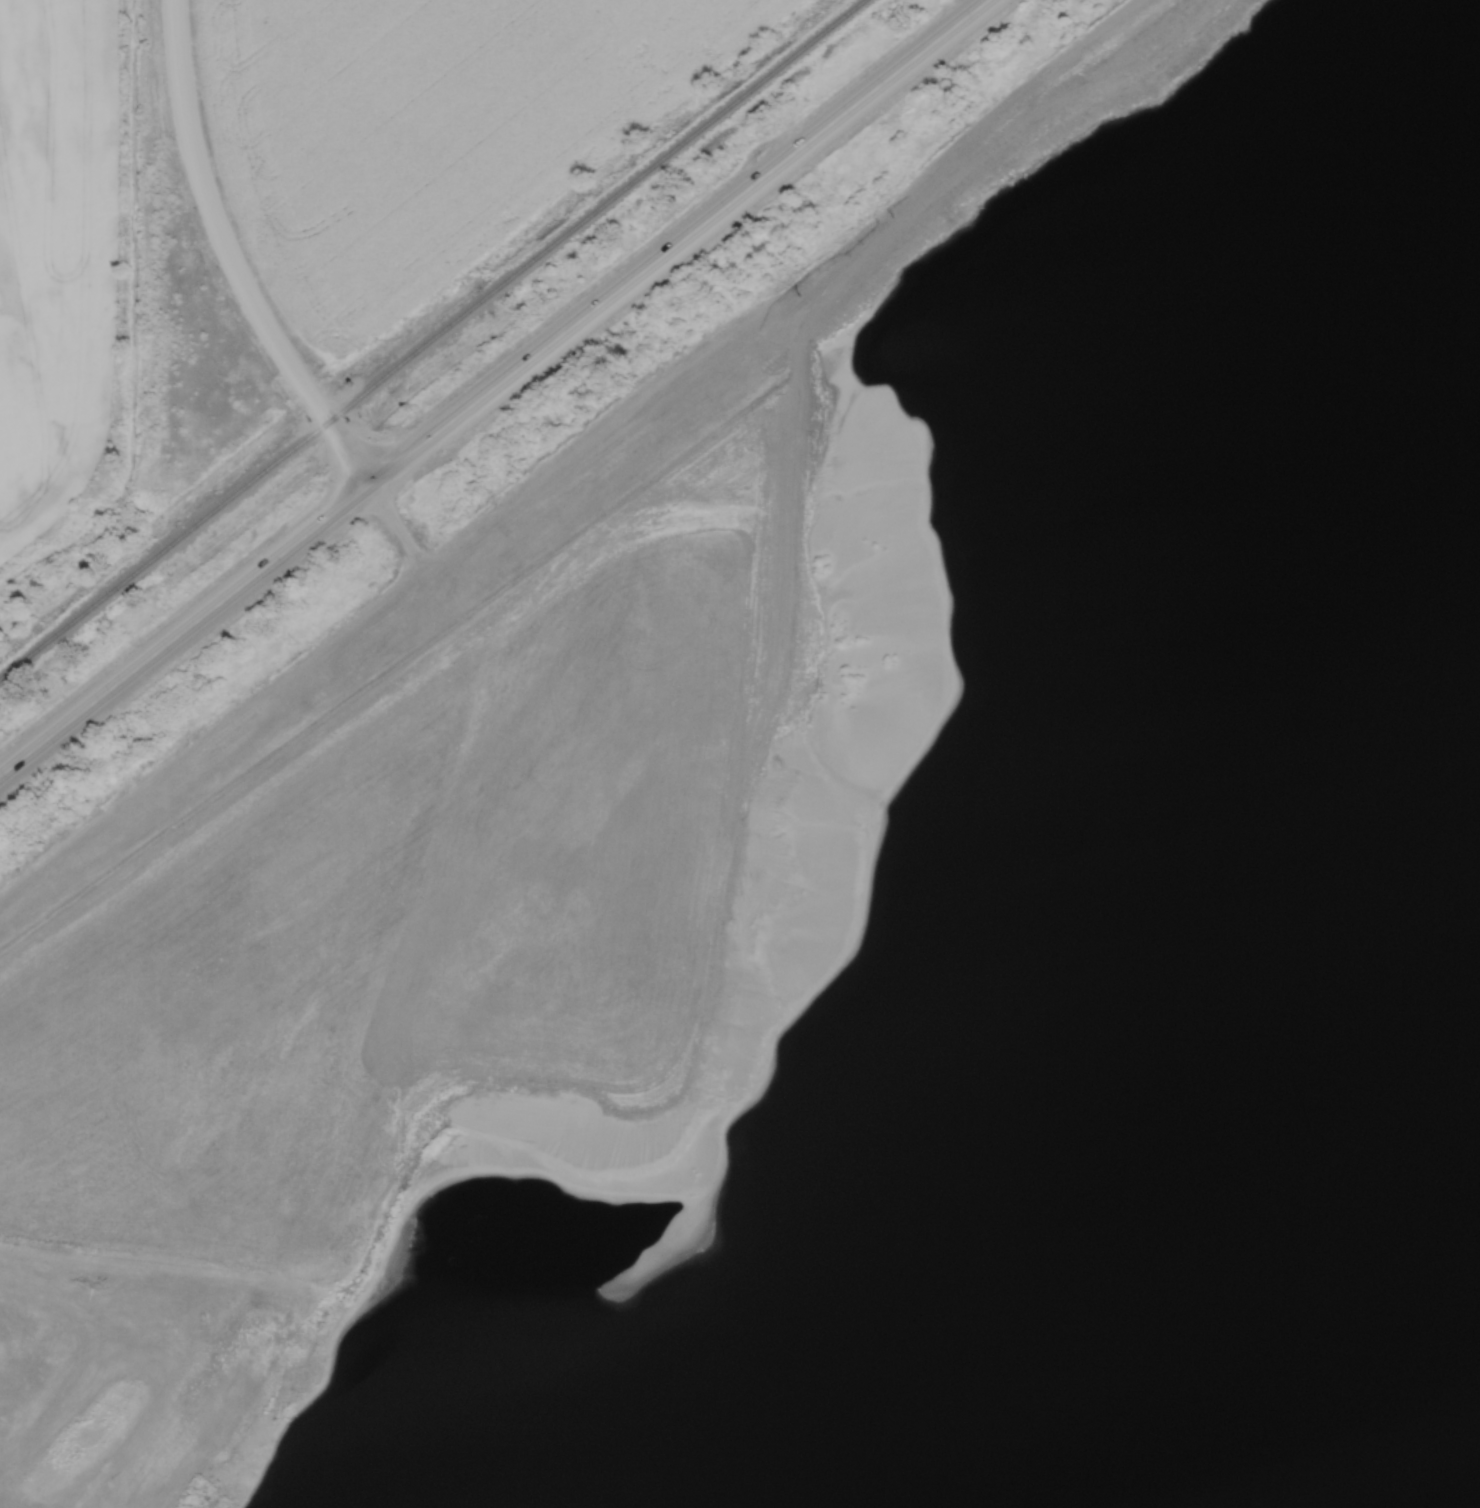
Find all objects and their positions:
road: (229, 257)
railway: (433, 341)
road: (492, 386)

